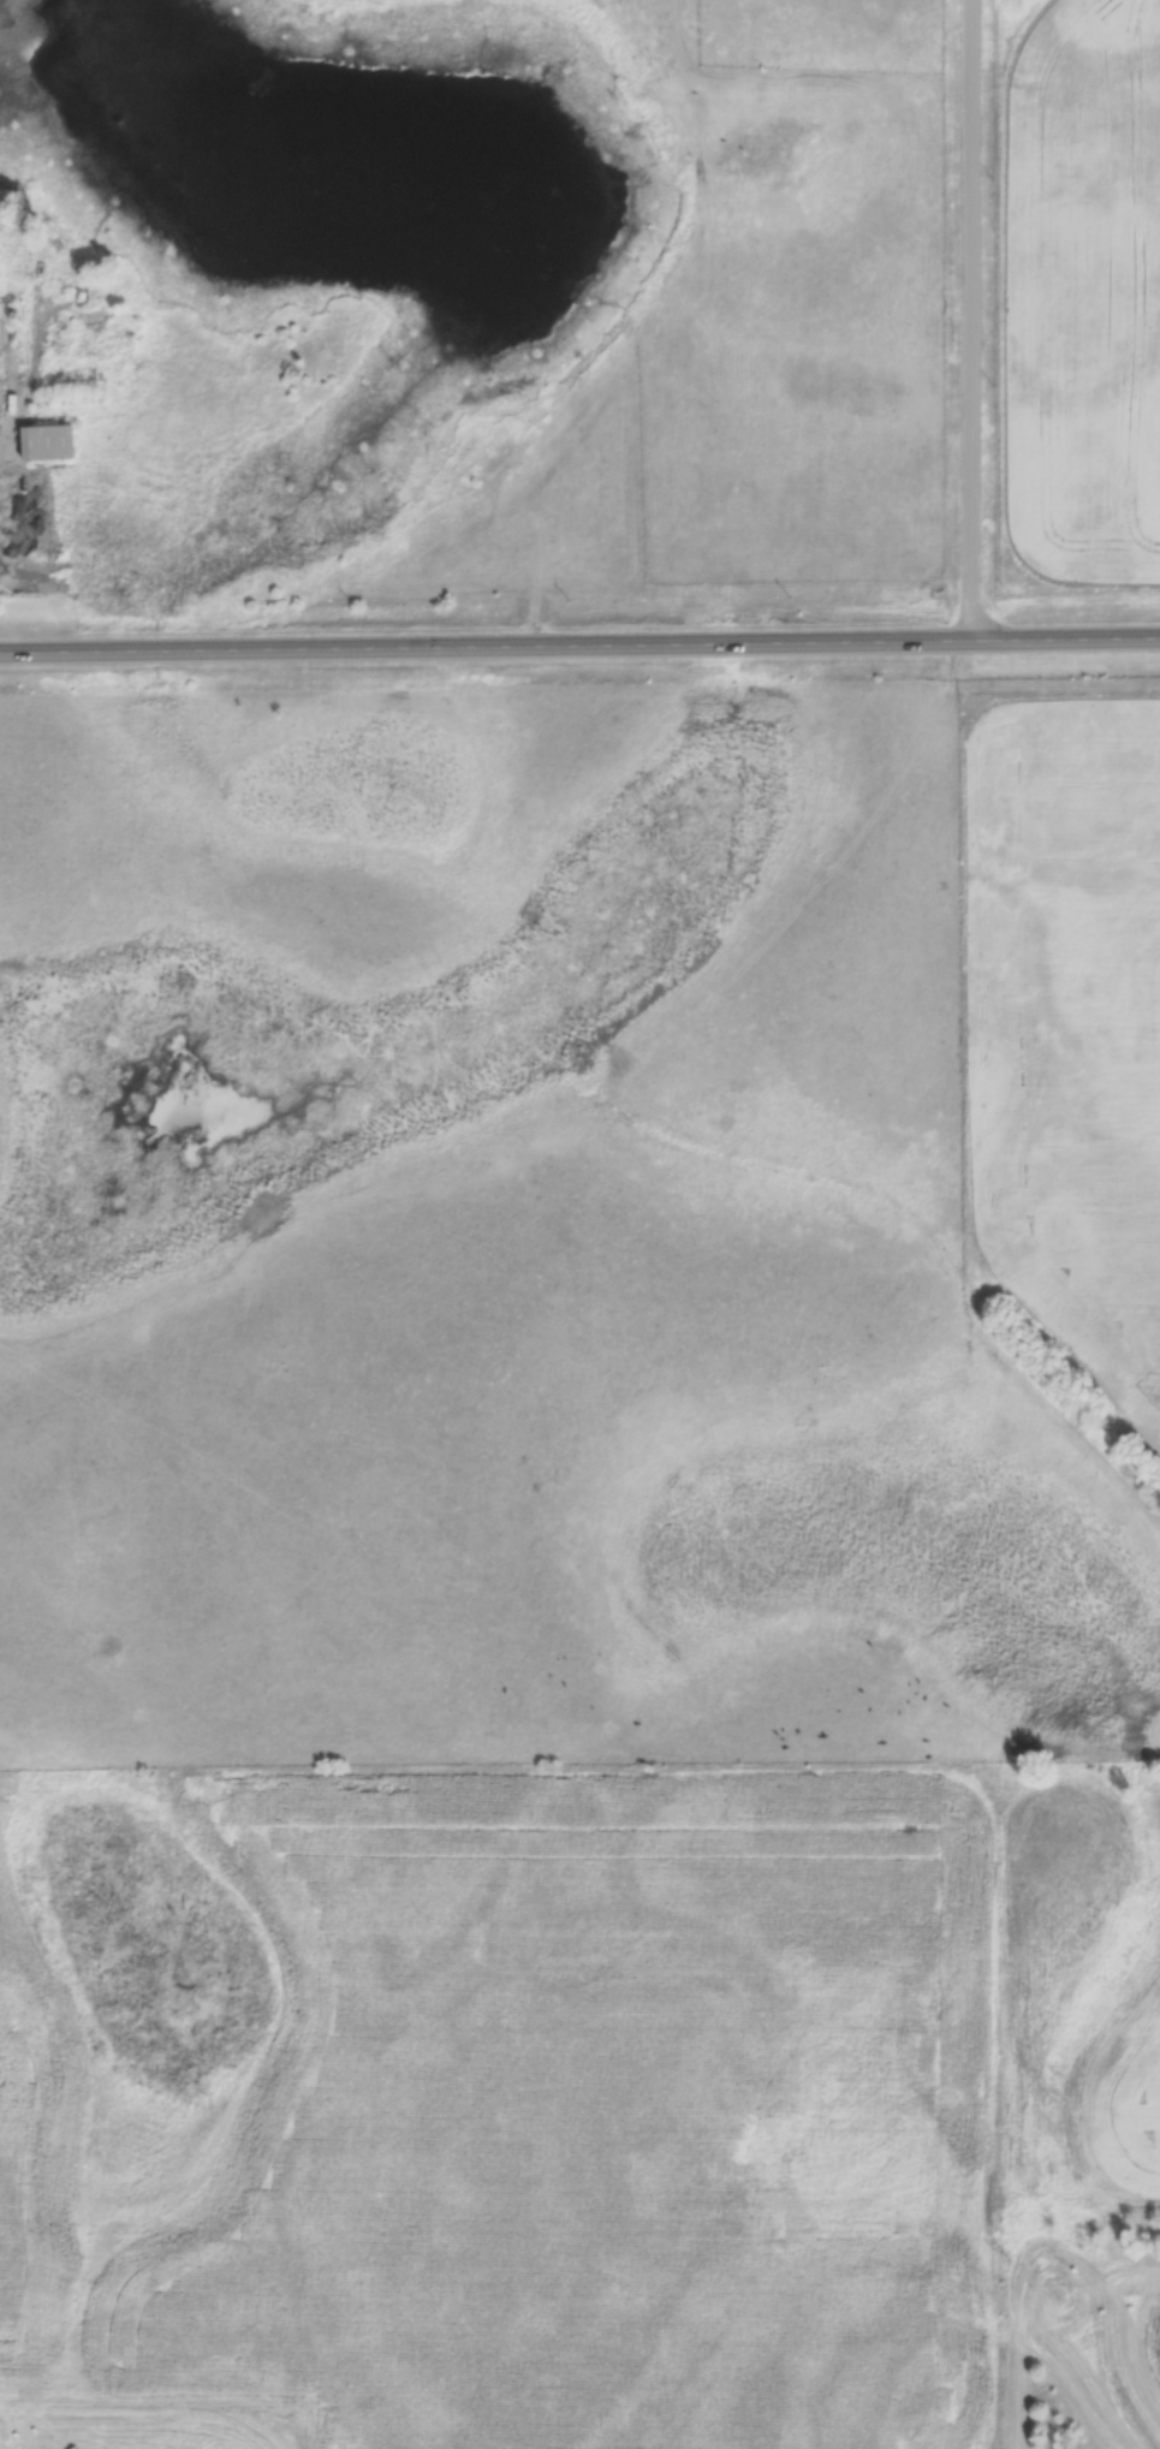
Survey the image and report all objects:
road: (986, 321)
building: (49, 442)
road: (579, 647)
crop: (1070, 1036)
crop: (1101, 2004)
crop: (504, 2112)
crop: (1119, 2370)

